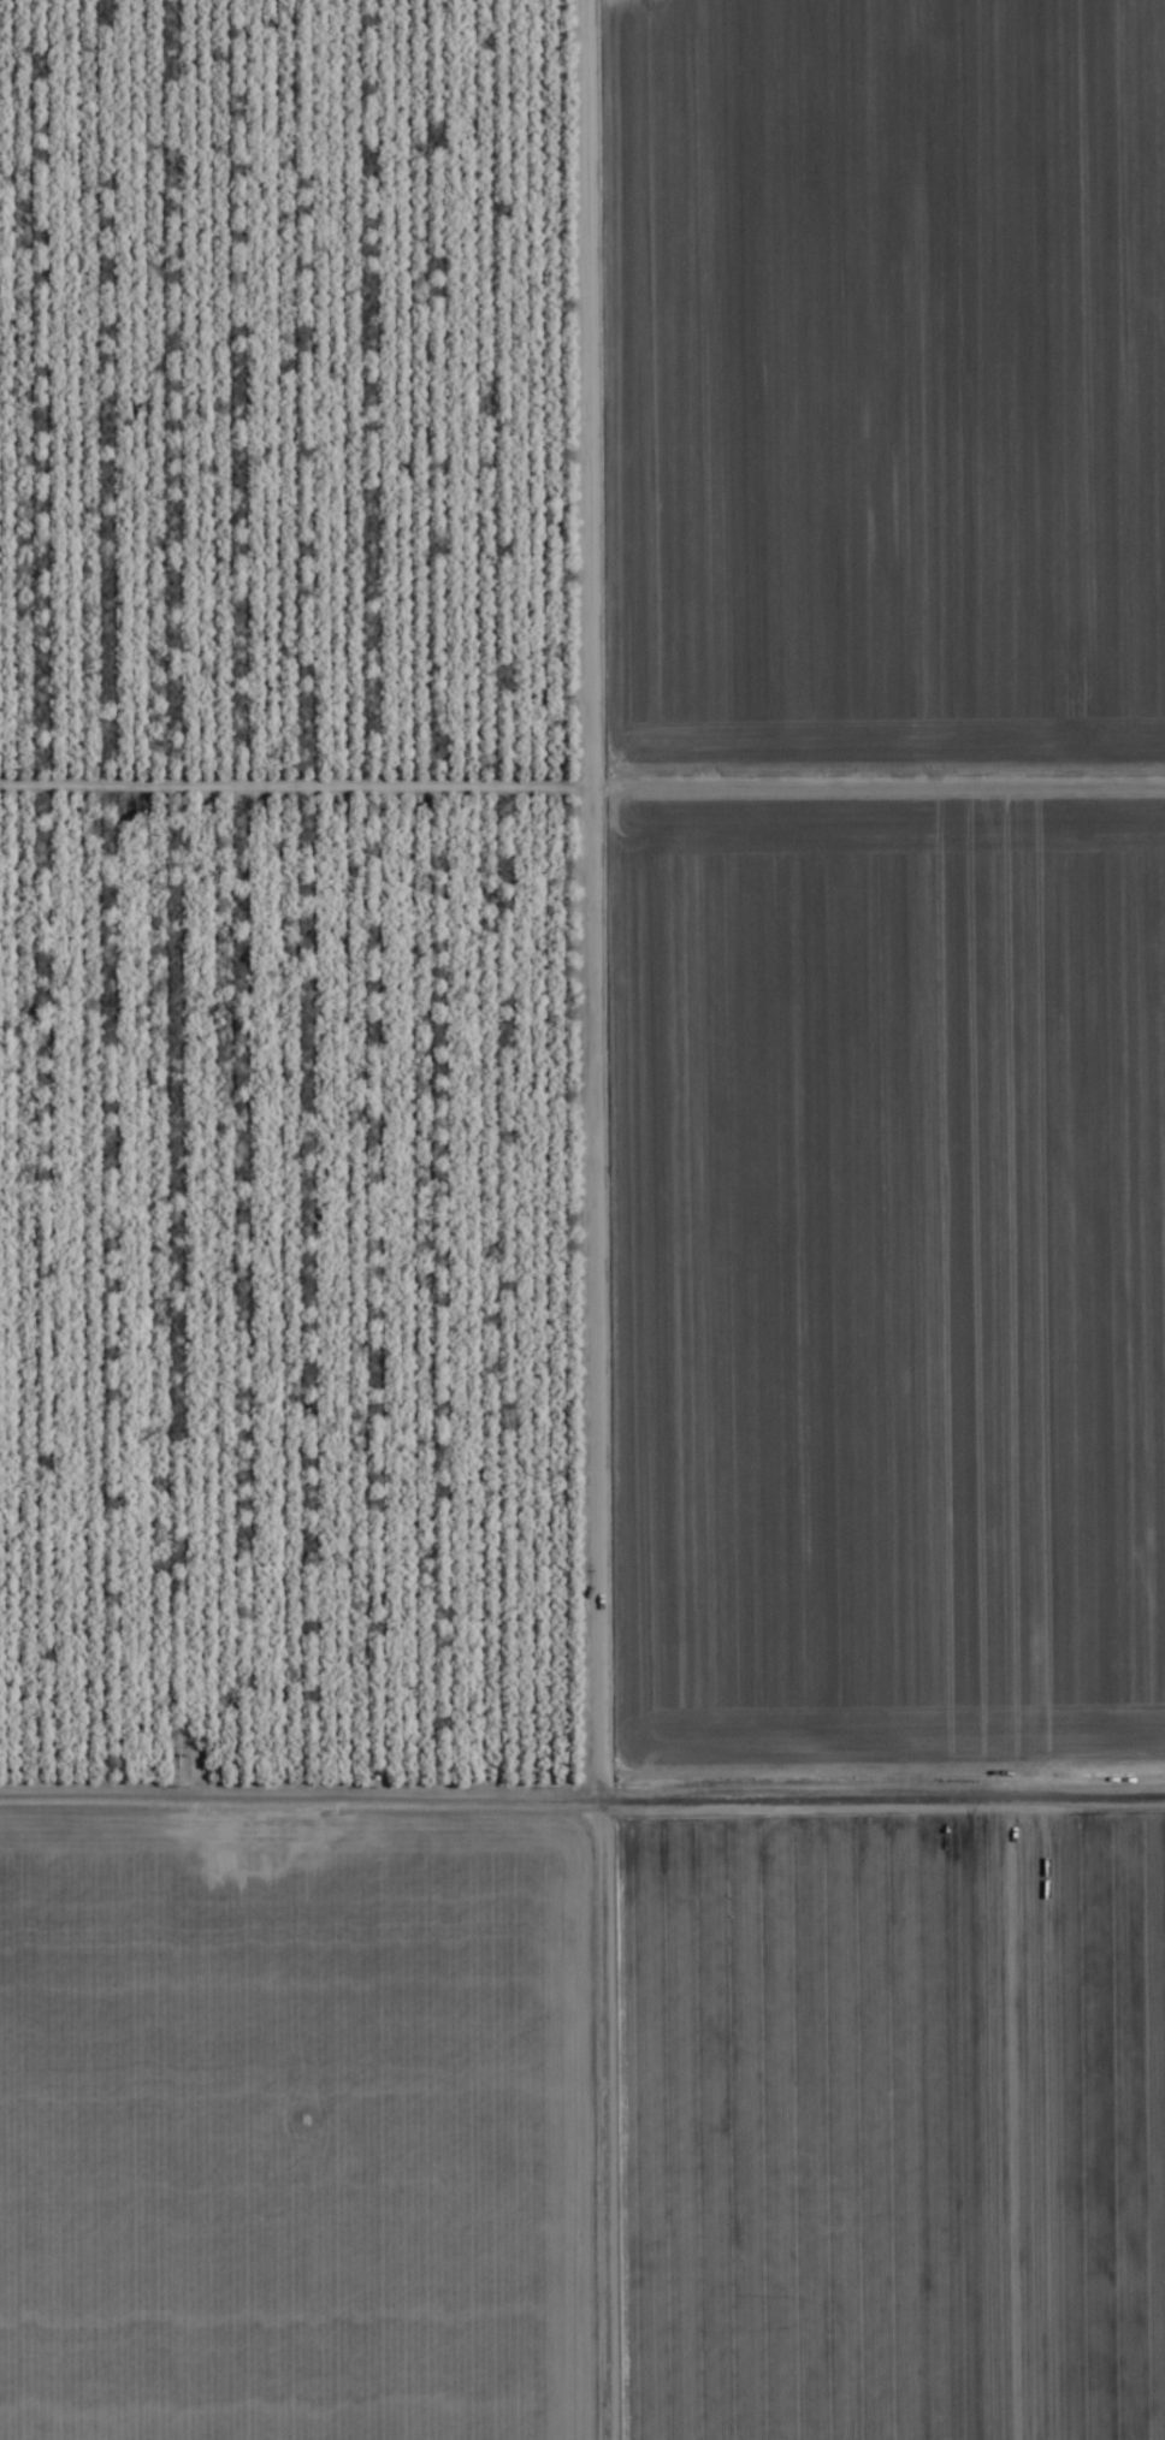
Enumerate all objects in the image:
road: (561, 1220)
crop: (582, 1220)
road: (582, 1776)
wastewater plant: (656, 1866)

